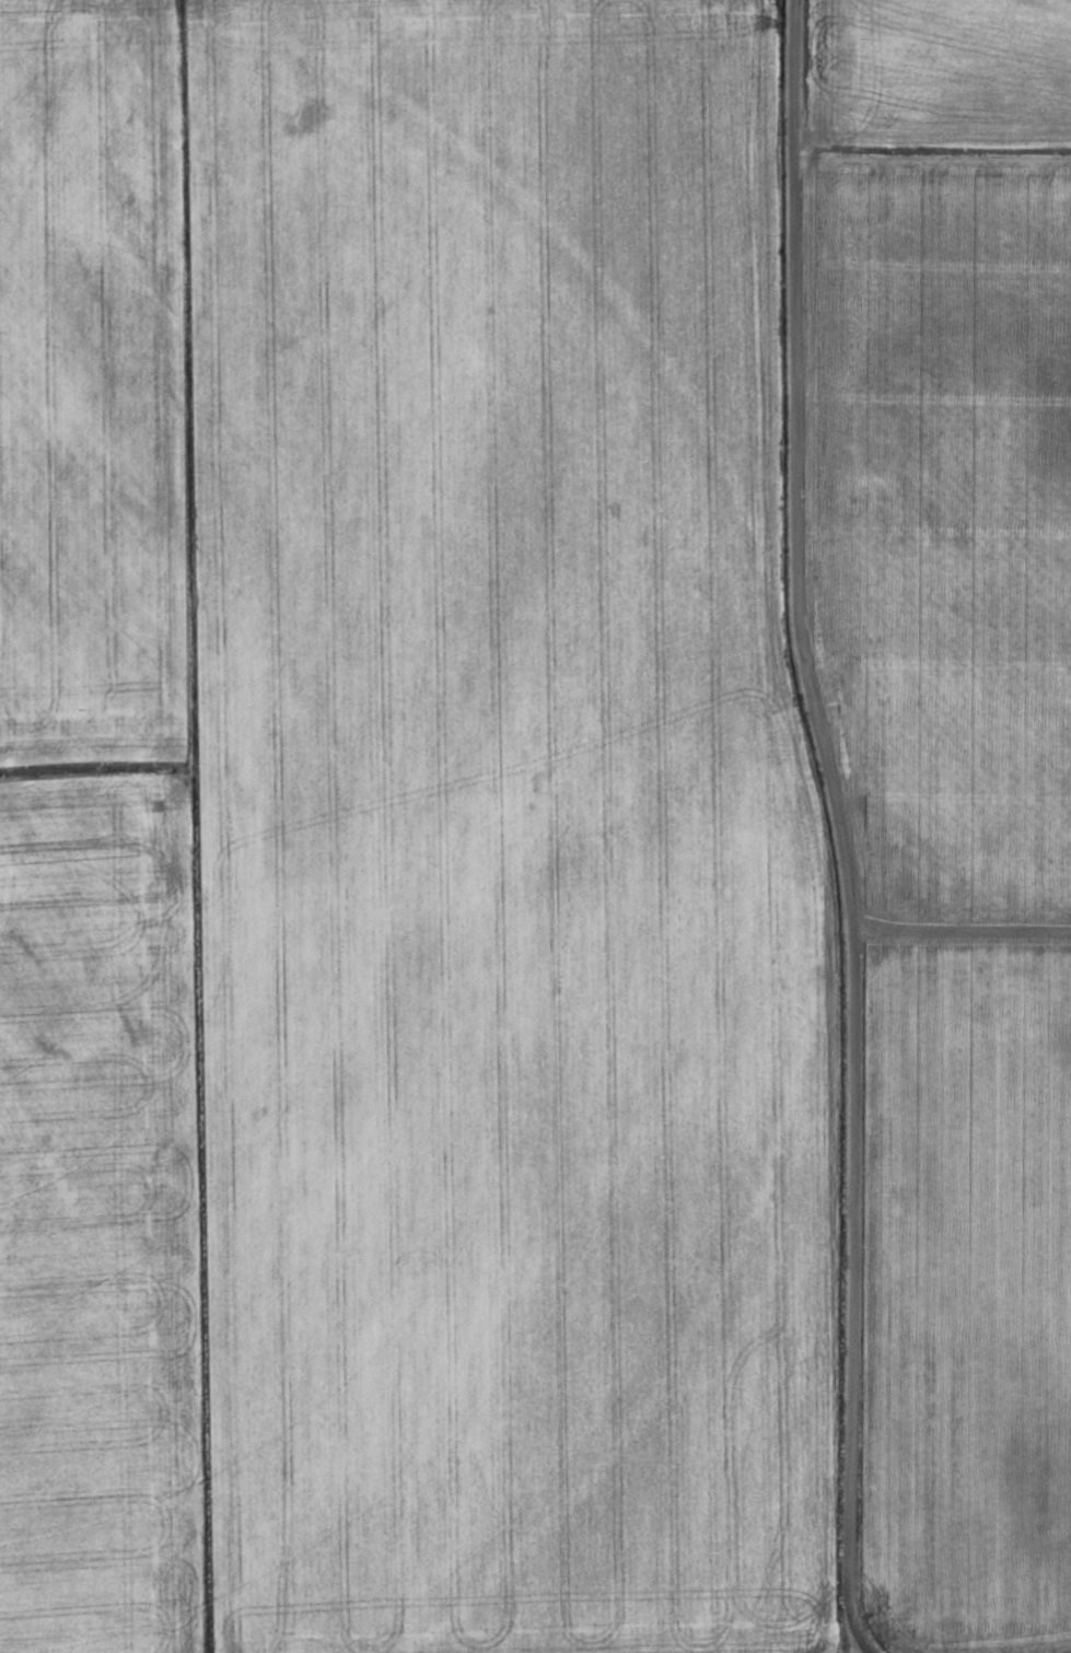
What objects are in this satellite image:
road: (838, 827)

